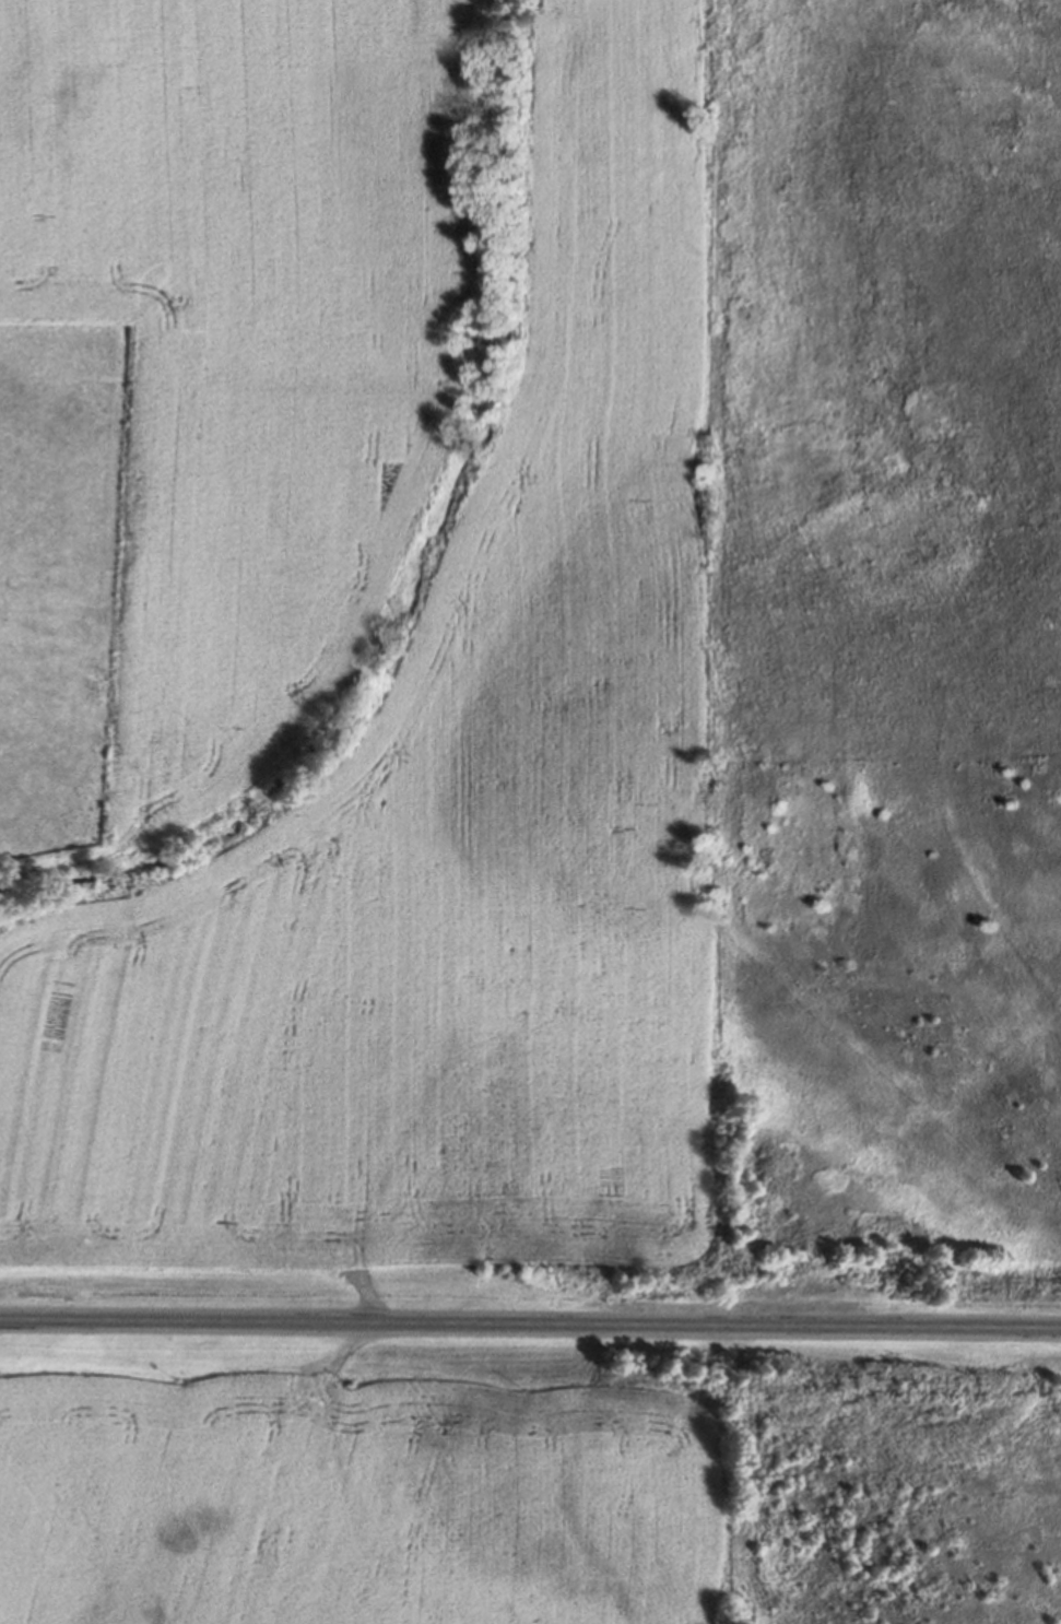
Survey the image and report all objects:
road: (530, 1325)

